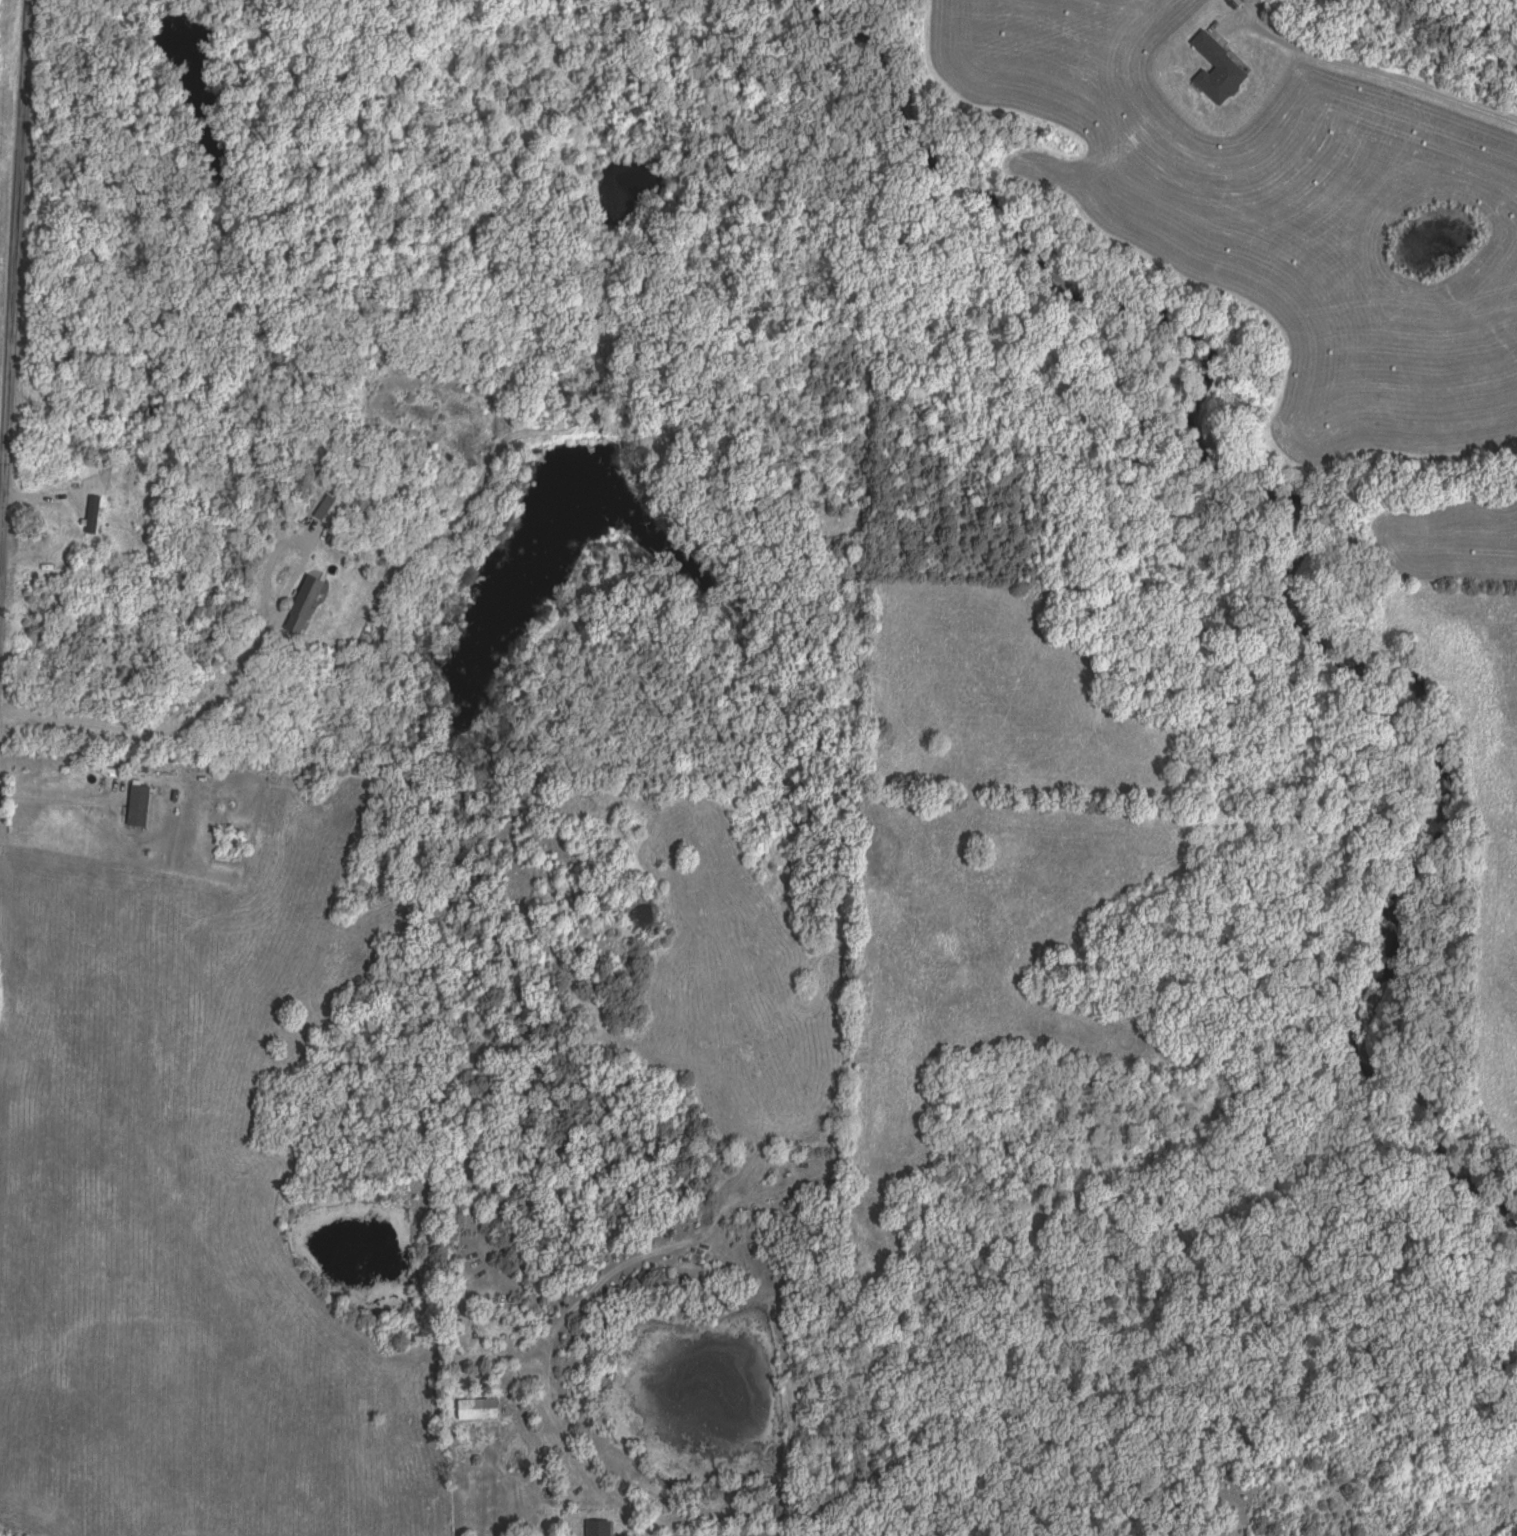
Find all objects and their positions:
building: (1218, 71)
road: (1393, 77)
road: (11, 248)
building: (324, 507)
road: (300, 541)
building: (307, 598)
road: (159, 731)
road: (61, 802)
building: (139, 807)
road: (551, 1331)
building: (478, 1410)
building: (598, 1528)

